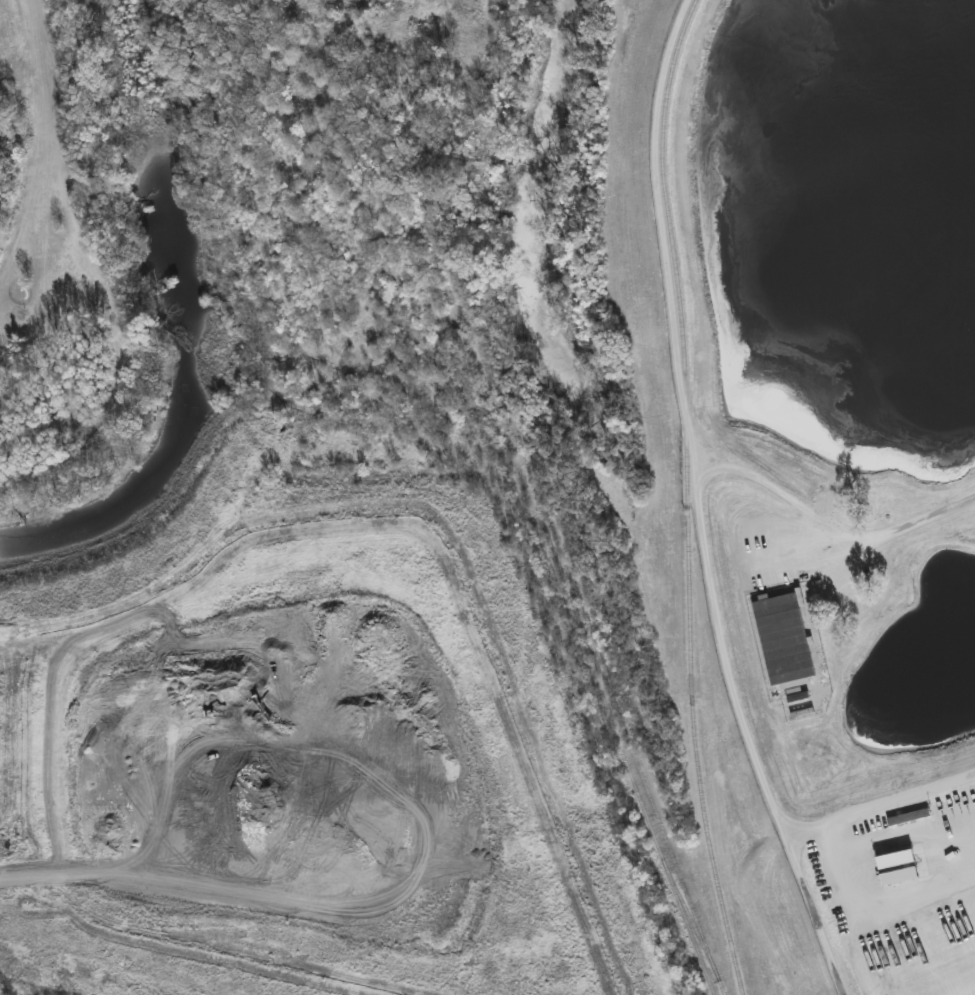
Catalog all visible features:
building: (381, 101)
wastewater plant: (832, 439)
railway: (686, 497)
road: (701, 512)
road: (833, 528)
railway: (556, 555)
building: (896, 860)
railway: (665, 869)
railway: (687, 913)

